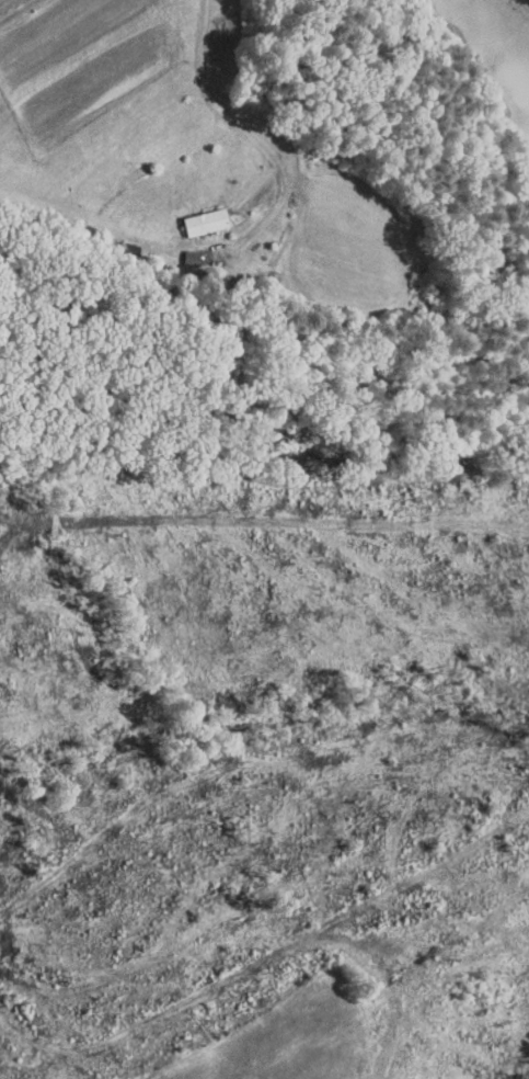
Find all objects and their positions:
road: (248, 130)
building: (191, 215)
building: (176, 251)

